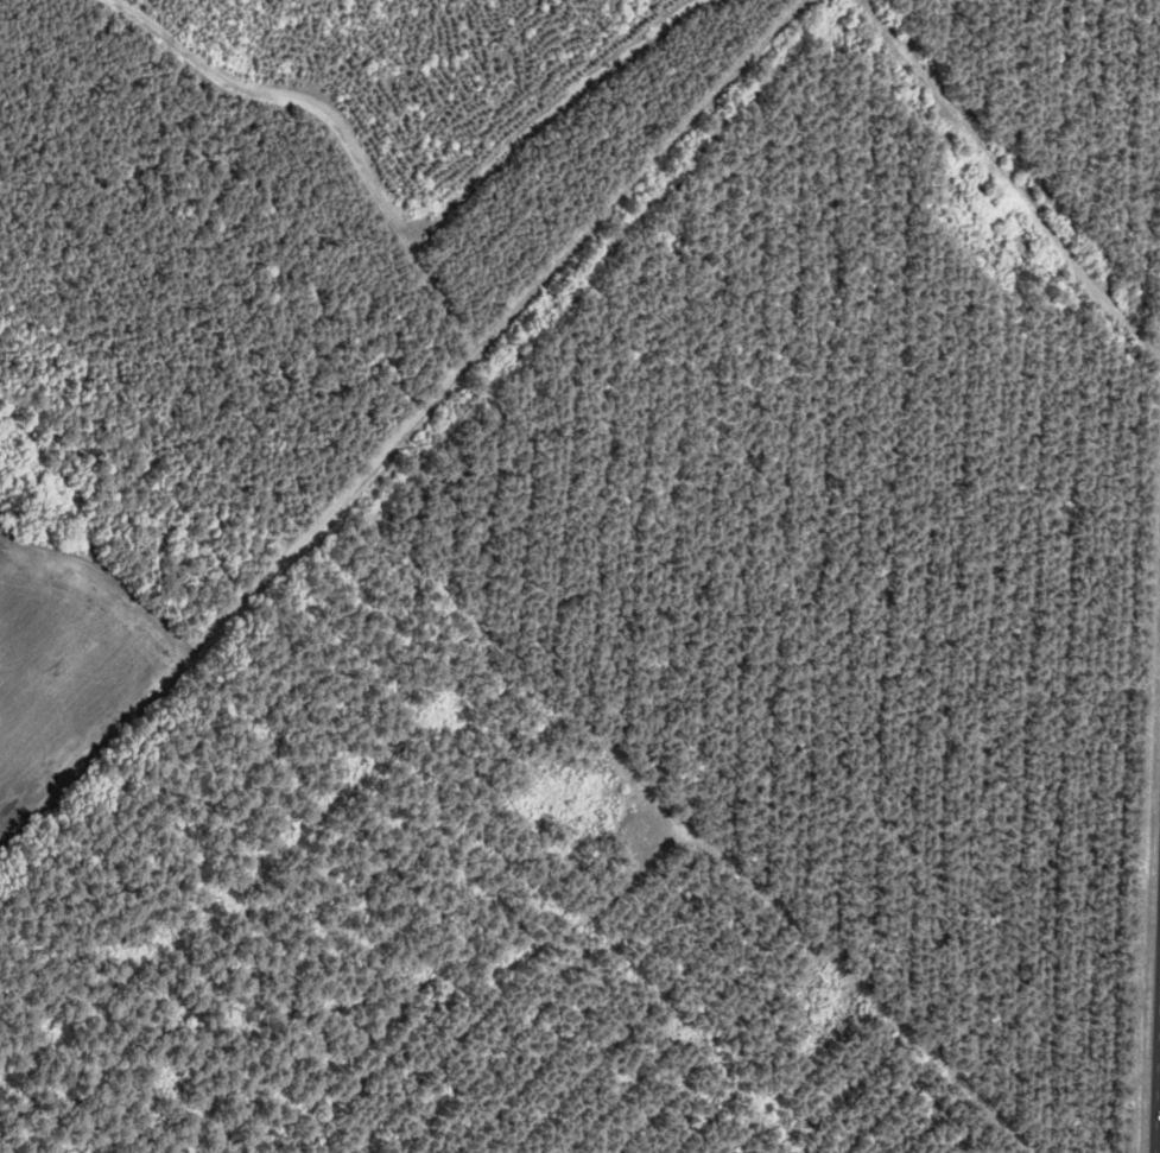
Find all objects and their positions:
road: (1158, 1085)

